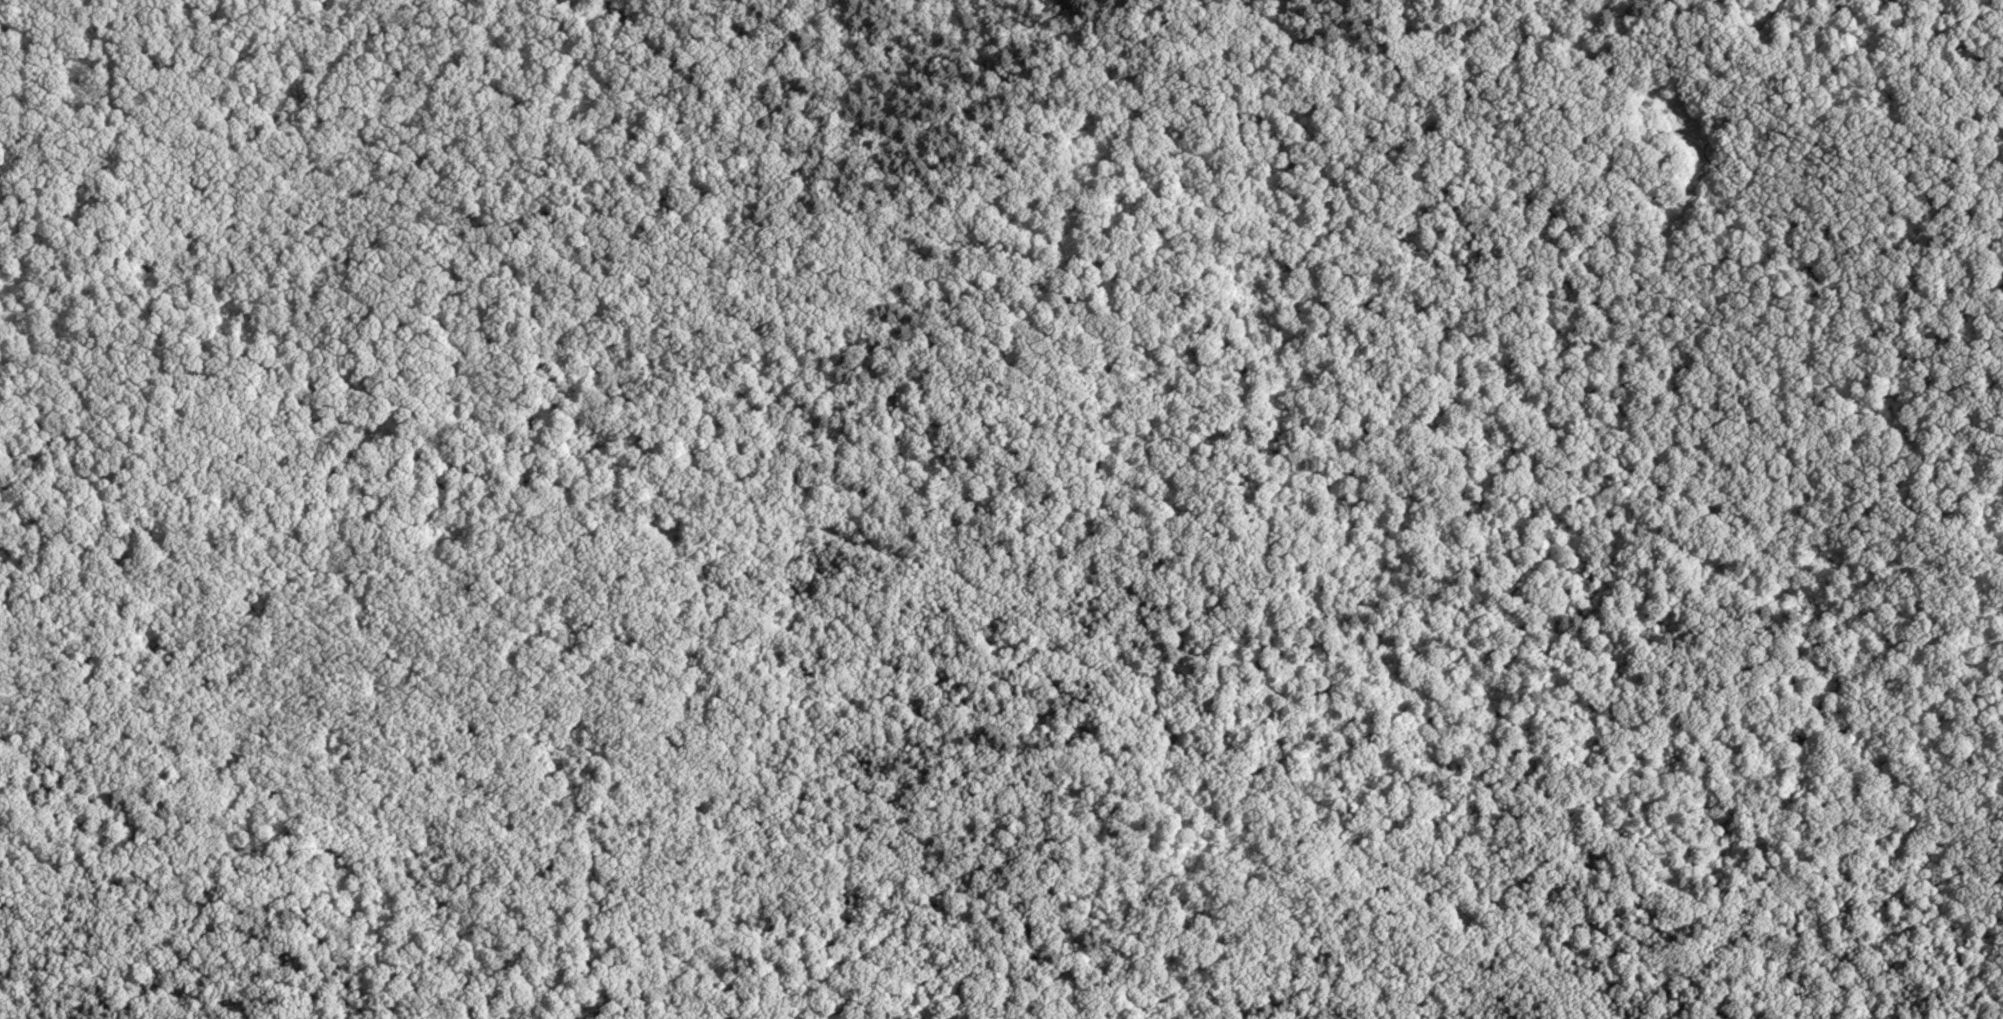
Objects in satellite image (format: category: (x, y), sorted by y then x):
road: (862, 534)
road: (1746, 693)

